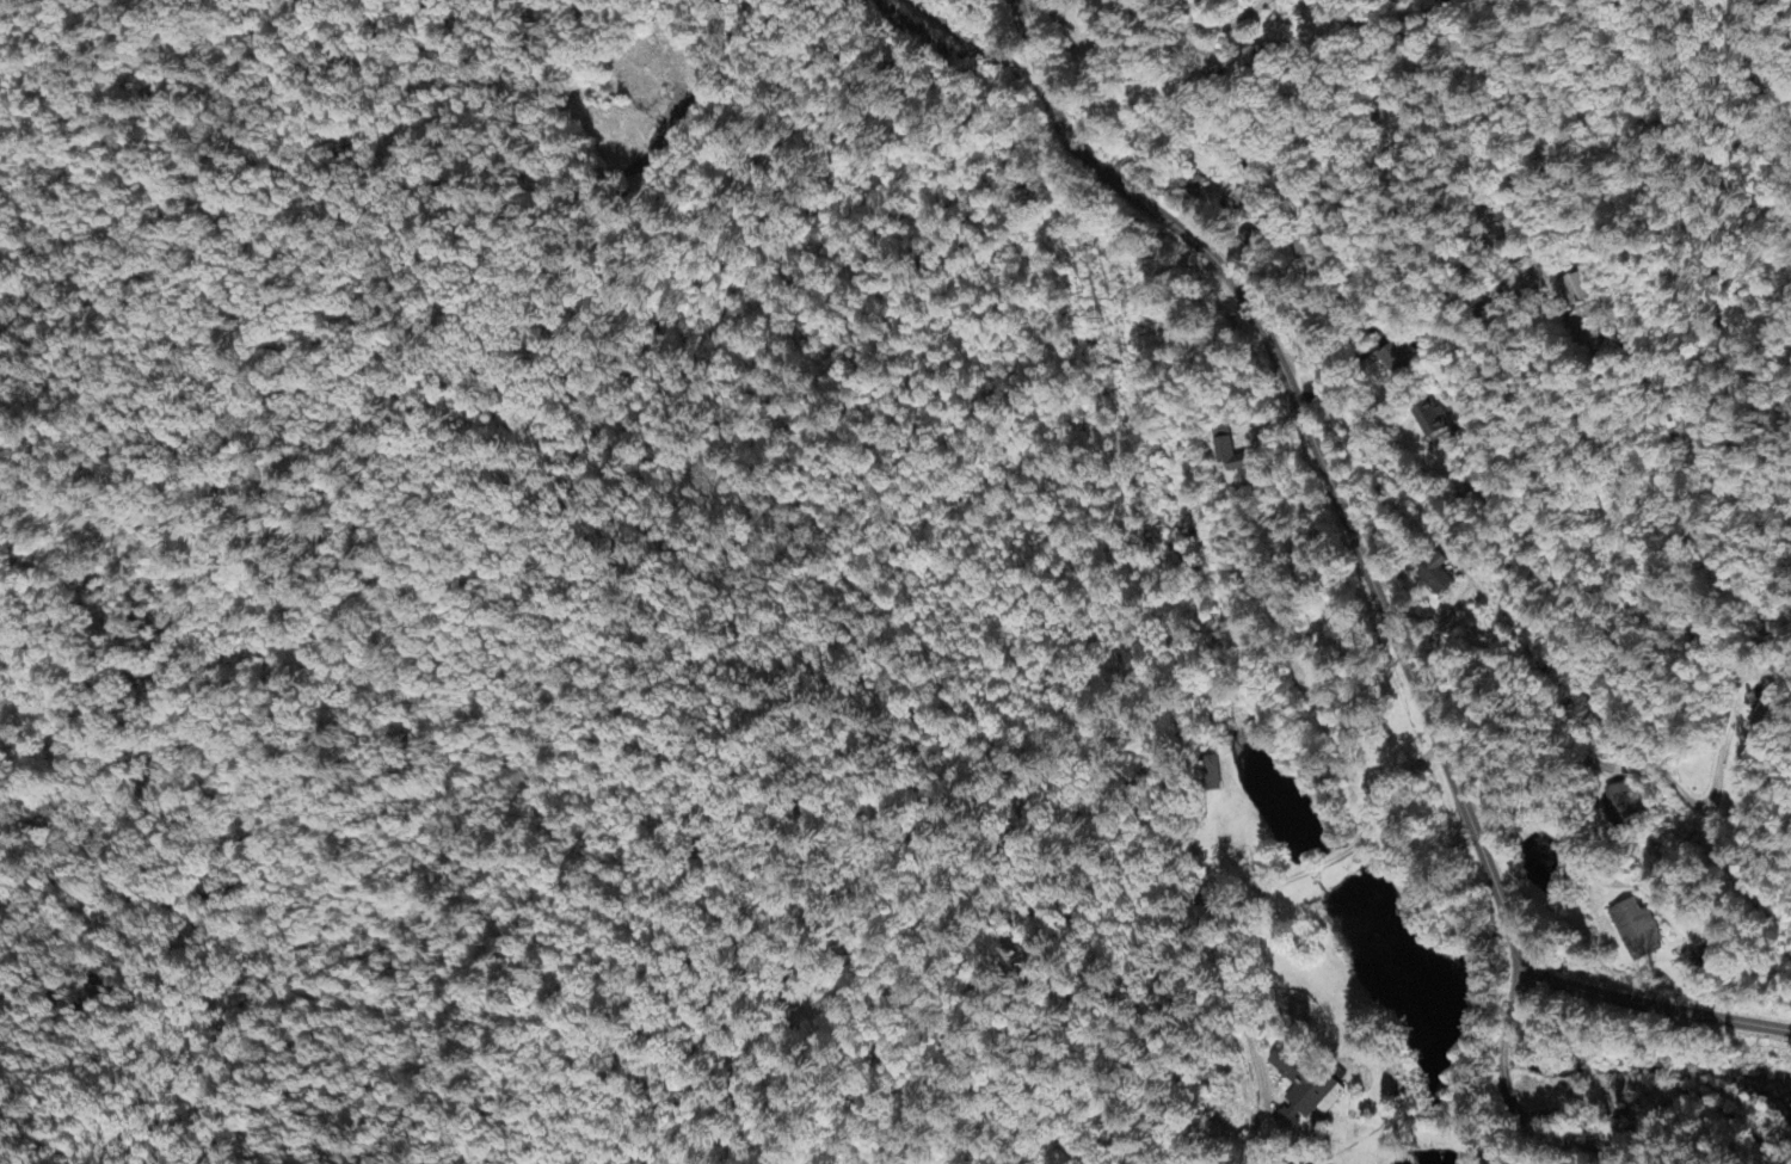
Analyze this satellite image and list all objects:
road: (1193, 23)
building: (1210, 63)
road: (464, 209)
building: (1576, 289)
building: (1396, 361)
building: (1430, 423)
road: (1098, 425)
building: (1225, 451)
road: (1318, 452)
road: (1484, 452)
building: (1434, 575)
building: (1760, 720)
road: (1632, 774)
building: (1212, 775)
building: (1619, 806)
road: (55, 852)
building: (1635, 931)
road: (1652, 1006)
building: (1301, 1091)
road: (1513, 1113)

